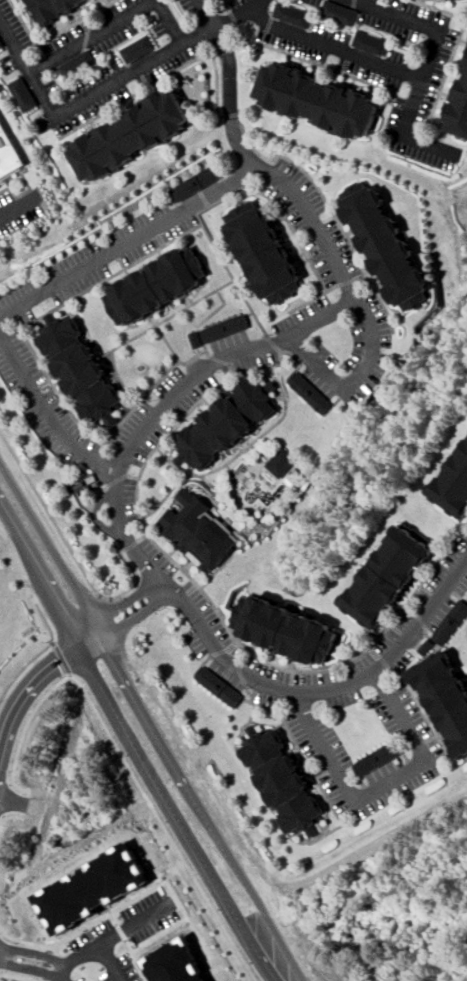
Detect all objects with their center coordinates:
building: (457, 0)
building: (462, 0)
building: (51, 9)
building: (338, 13)
building: (291, 16)
road: (113, 23)
building: (370, 43)
building: (0, 46)
building: (0, 48)
building: (135, 50)
building: (466, 63)
building: (75, 66)
road: (400, 73)
road: (226, 83)
road: (111, 84)
building: (21, 95)
building: (320, 99)
building: (460, 109)
road: (401, 135)
building: (130, 136)
building: (8, 154)
building: (194, 183)
road: (19, 206)
parking lot: (19, 210)
building: (390, 246)
building: (267, 252)
road: (346, 278)
building: (160, 285)
road: (323, 316)
building: (227, 328)
building: (196, 340)
building: (83, 369)
building: (309, 392)
road: (47, 406)
building: (227, 425)
building: (279, 462)
building: (452, 483)
road: (123, 531)
building: (200, 532)
road: (69, 544)
road: (50, 547)
road: (39, 574)
building: (383, 577)
road: (164, 586)
road: (126, 602)
road: (135, 619)
building: (449, 622)
building: (282, 630)
road: (89, 637)
road: (52, 643)
road: (42, 650)
road: (62, 659)
road: (29, 682)
building: (218, 686)
road: (325, 691)
building: (442, 700)
road: (25, 729)
building: (375, 759)
building: (279, 783)
road: (381, 785)
road: (200, 804)
road: (174, 814)
road: (6, 818)
road: (163, 827)
building: (92, 888)
road: (128, 902)
road: (131, 926)
road: (91, 950)
road: (28, 963)
building: (177, 963)
road: (15, 976)

